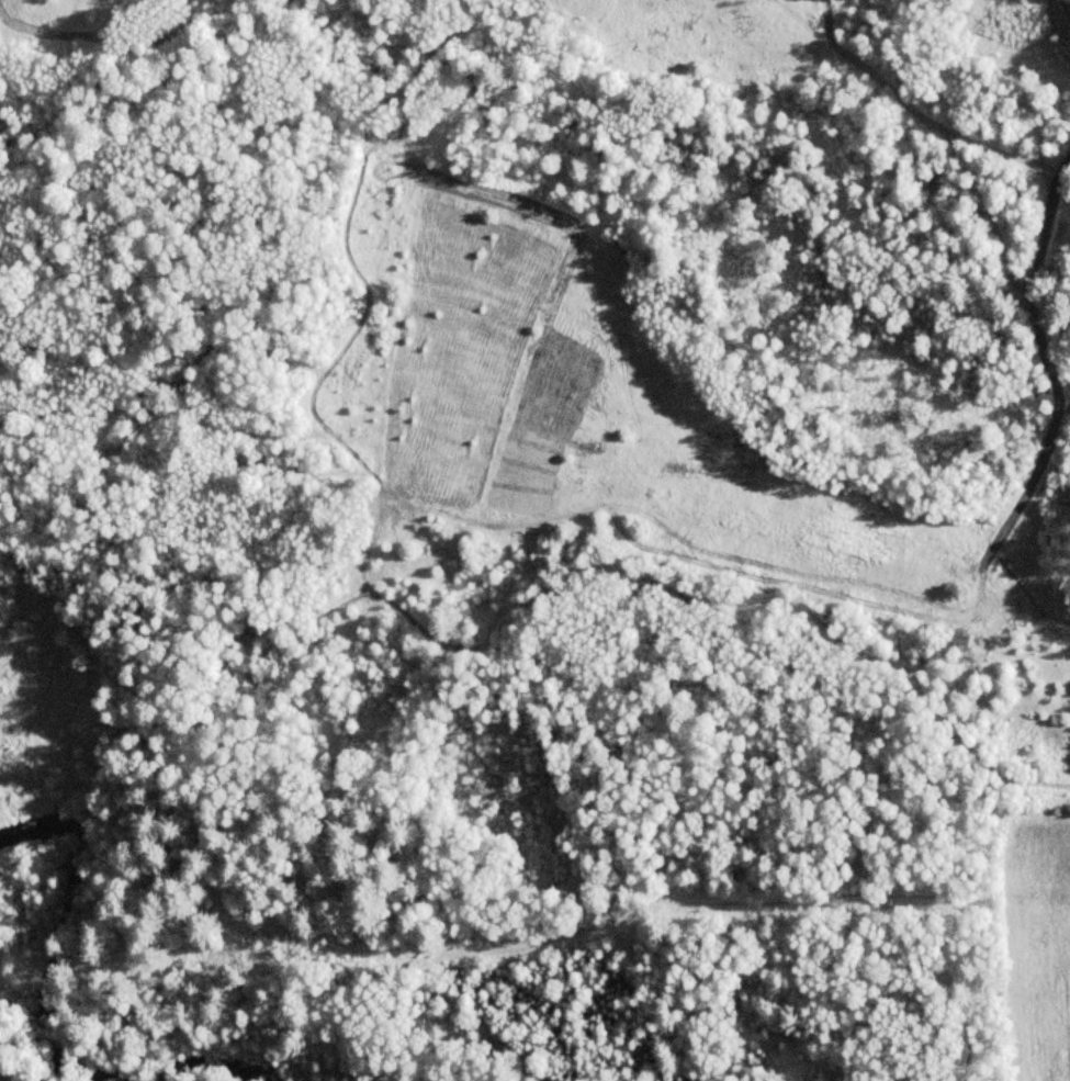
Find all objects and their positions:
river: (70, 931)
river: (215, 1067)

